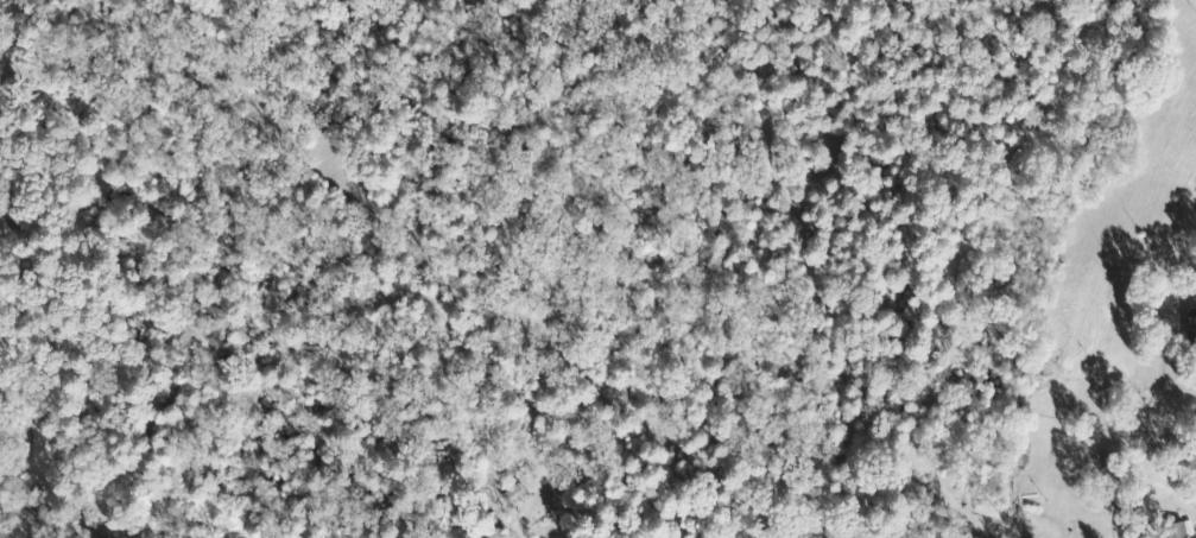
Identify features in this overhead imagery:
building: (1179, 531)

